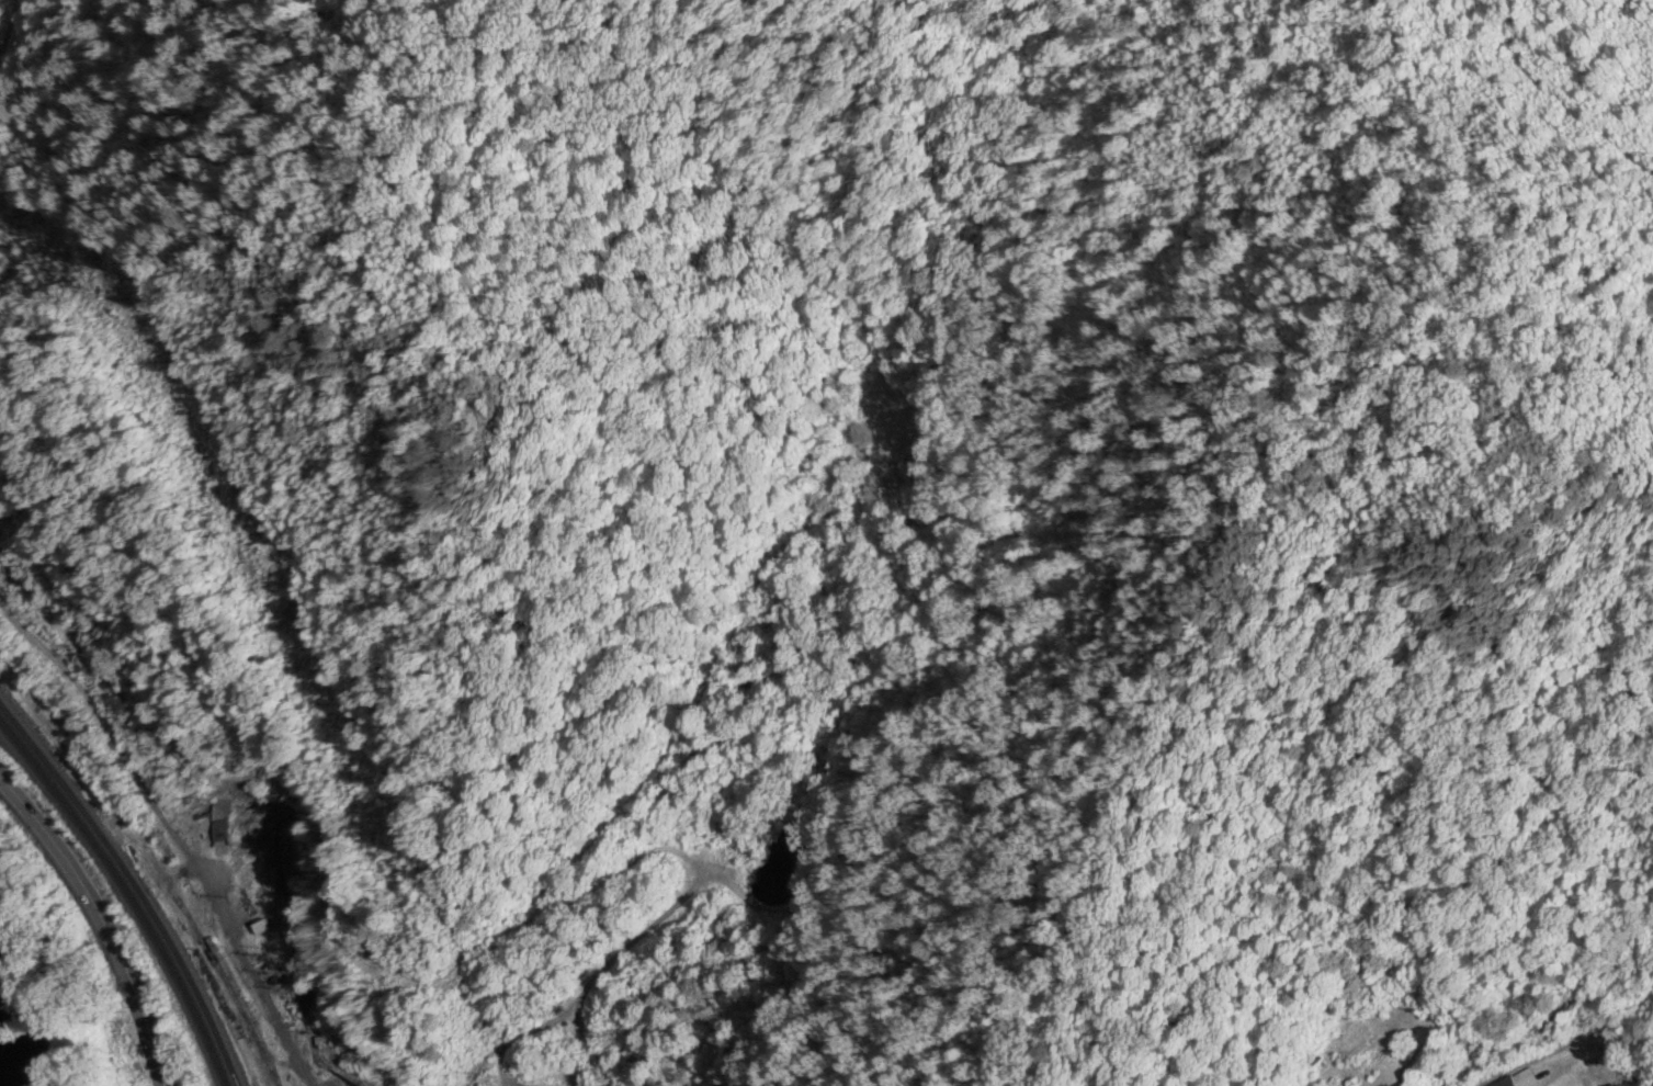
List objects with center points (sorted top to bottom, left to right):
road: (11, 23)
road: (173, 827)
railway: (128, 891)
road: (100, 921)

